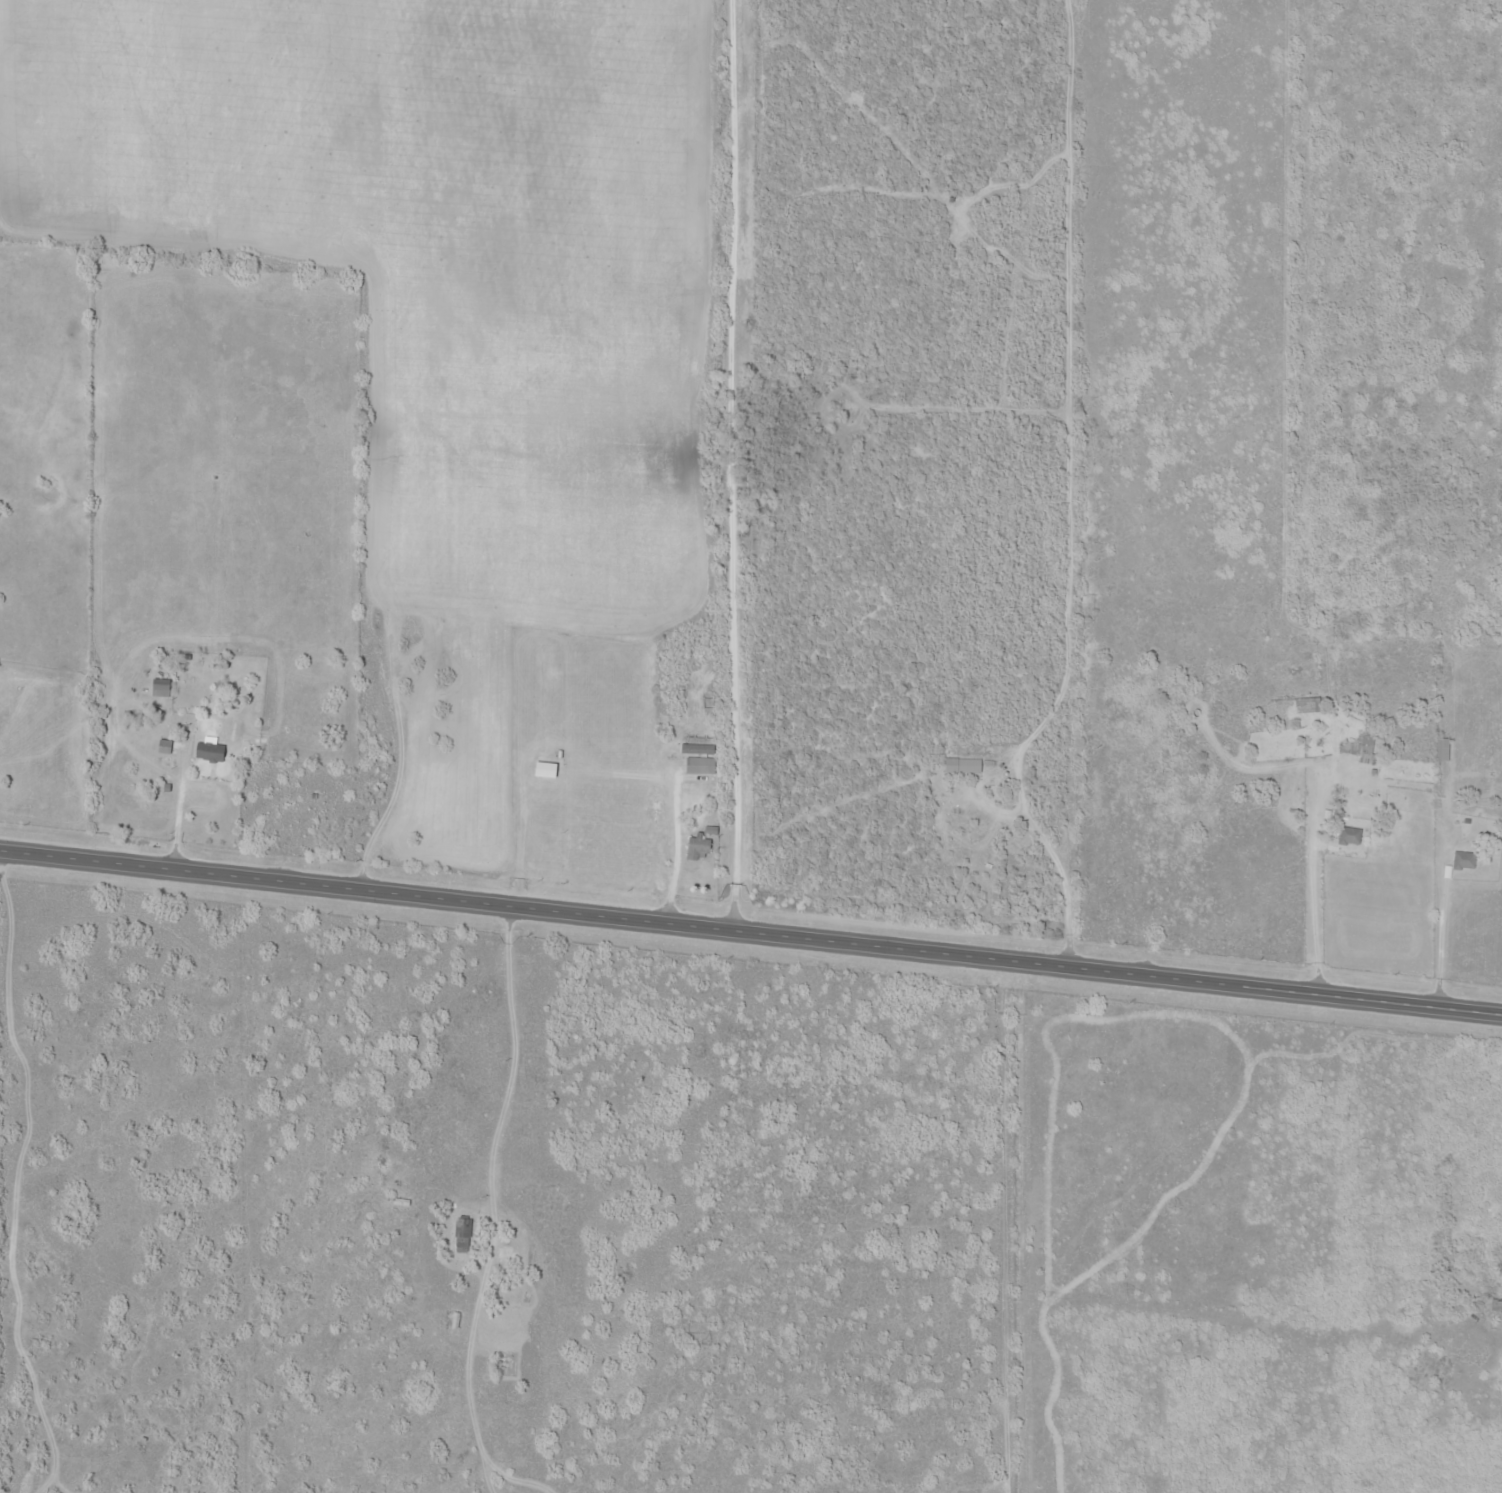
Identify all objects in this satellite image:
road: (699, 464)
building: (1441, 676)
building: (158, 688)
building: (1304, 706)
building: (161, 749)
building: (1440, 750)
building: (207, 752)
building: (698, 765)
building: (967, 766)
building: (1348, 836)
building: (695, 850)
building: (1462, 861)
road: (750, 935)
building: (460, 1236)
building: (1495, 1304)

